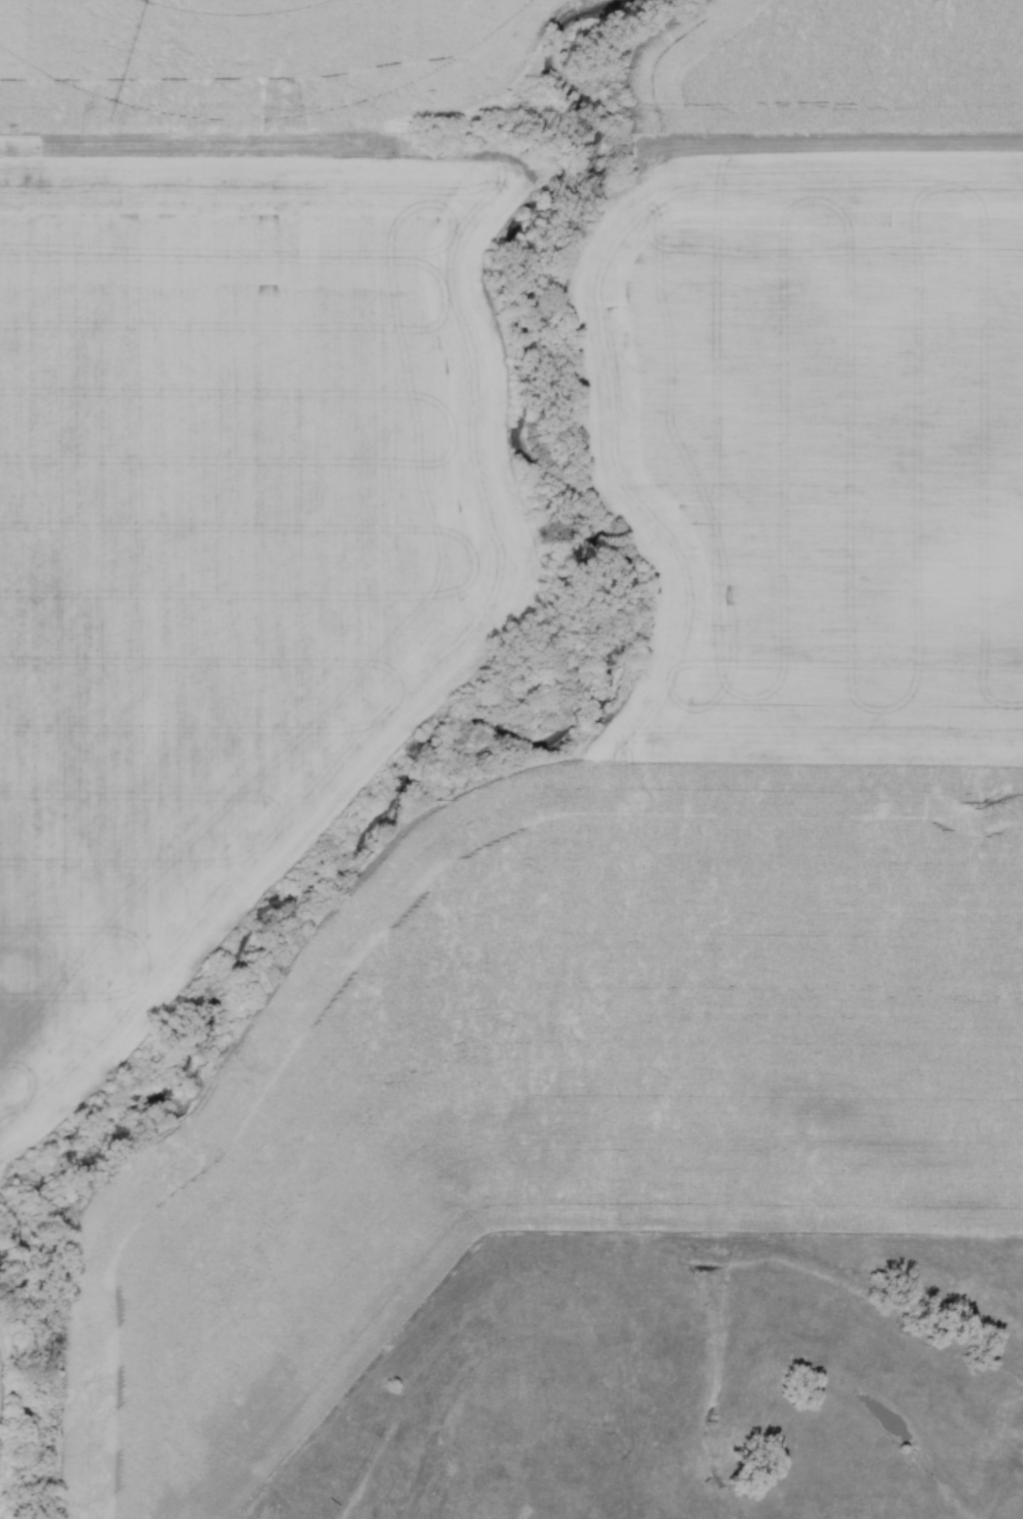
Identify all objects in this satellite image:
crop: (268, 53)
crop: (833, 64)
crop: (218, 556)

